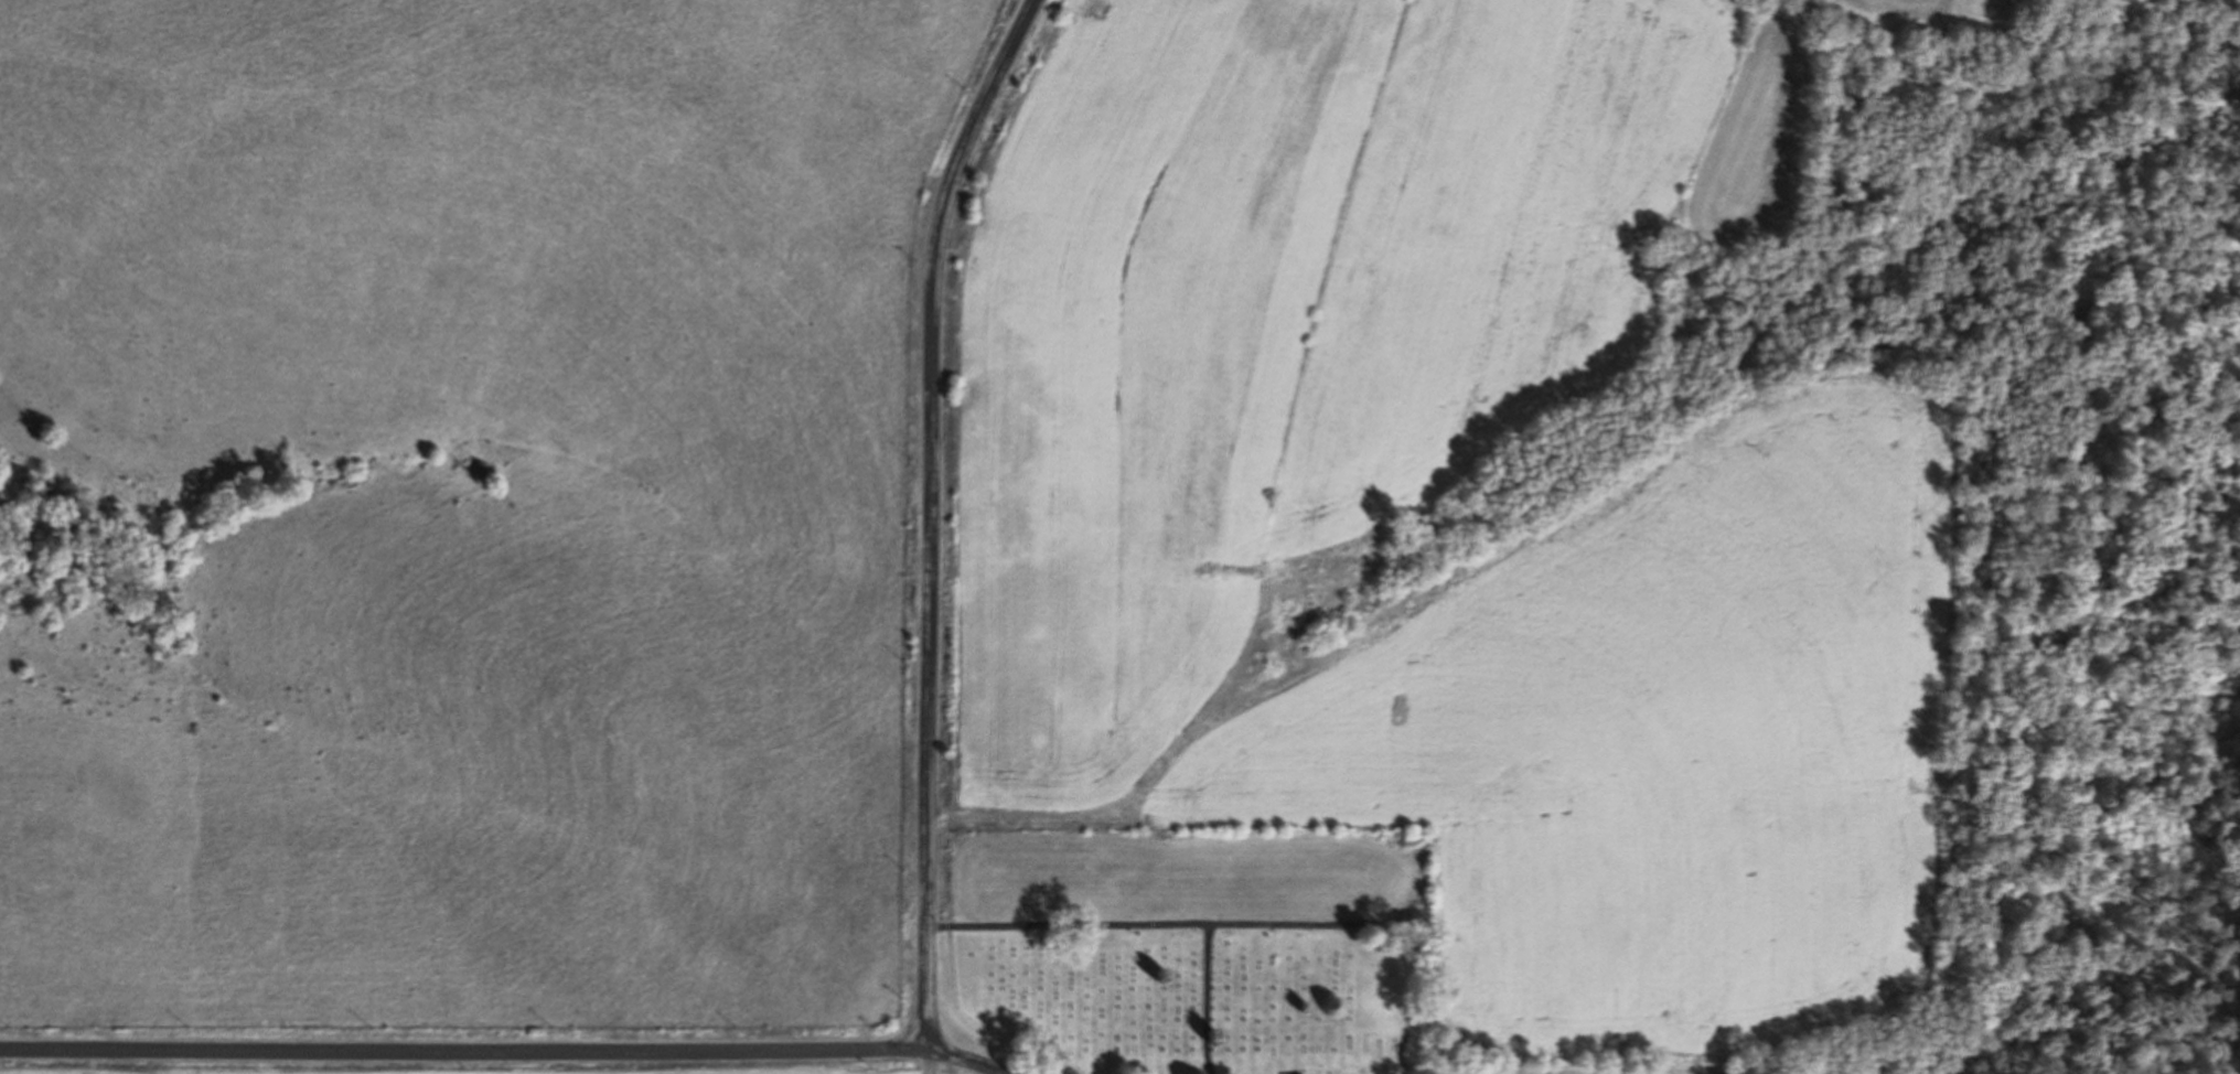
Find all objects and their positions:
road: (926, 515)
park: (1198, 947)
road: (461, 1045)
road: (962, 1060)
road: (921, 1062)

